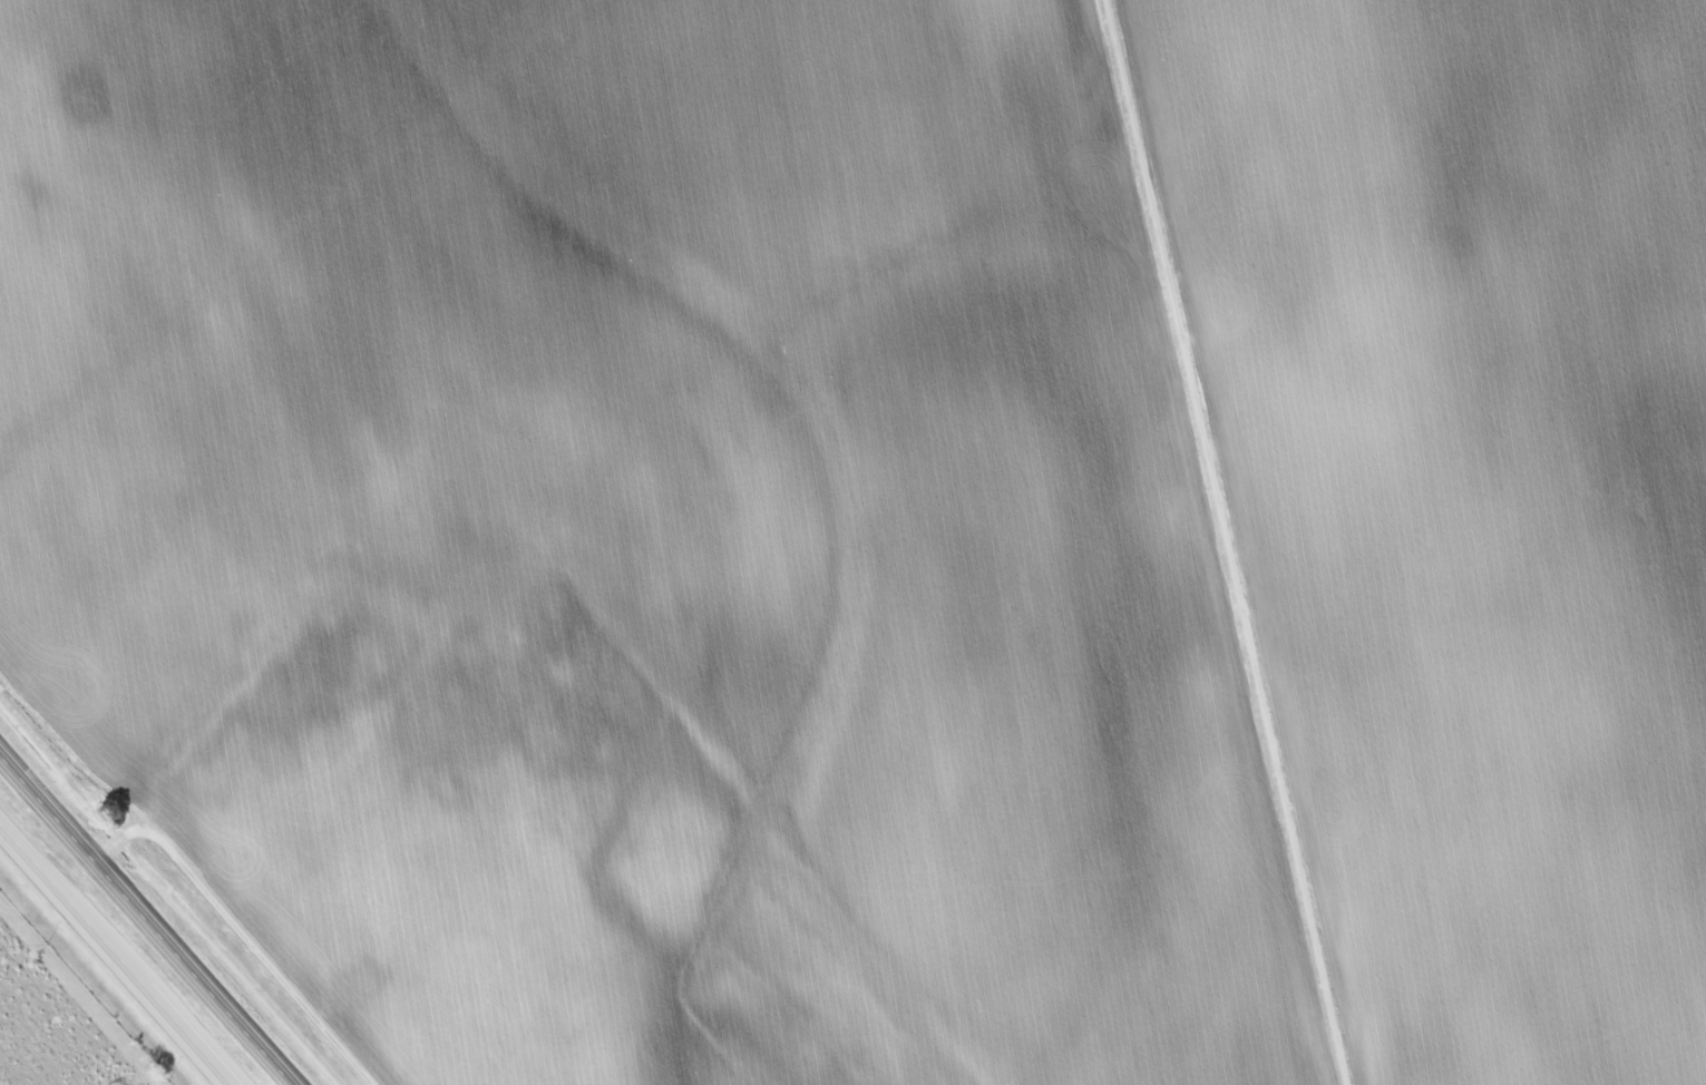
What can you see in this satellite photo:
road: (305, 602)
road: (145, 918)
road: (238, 930)
road: (118, 951)

